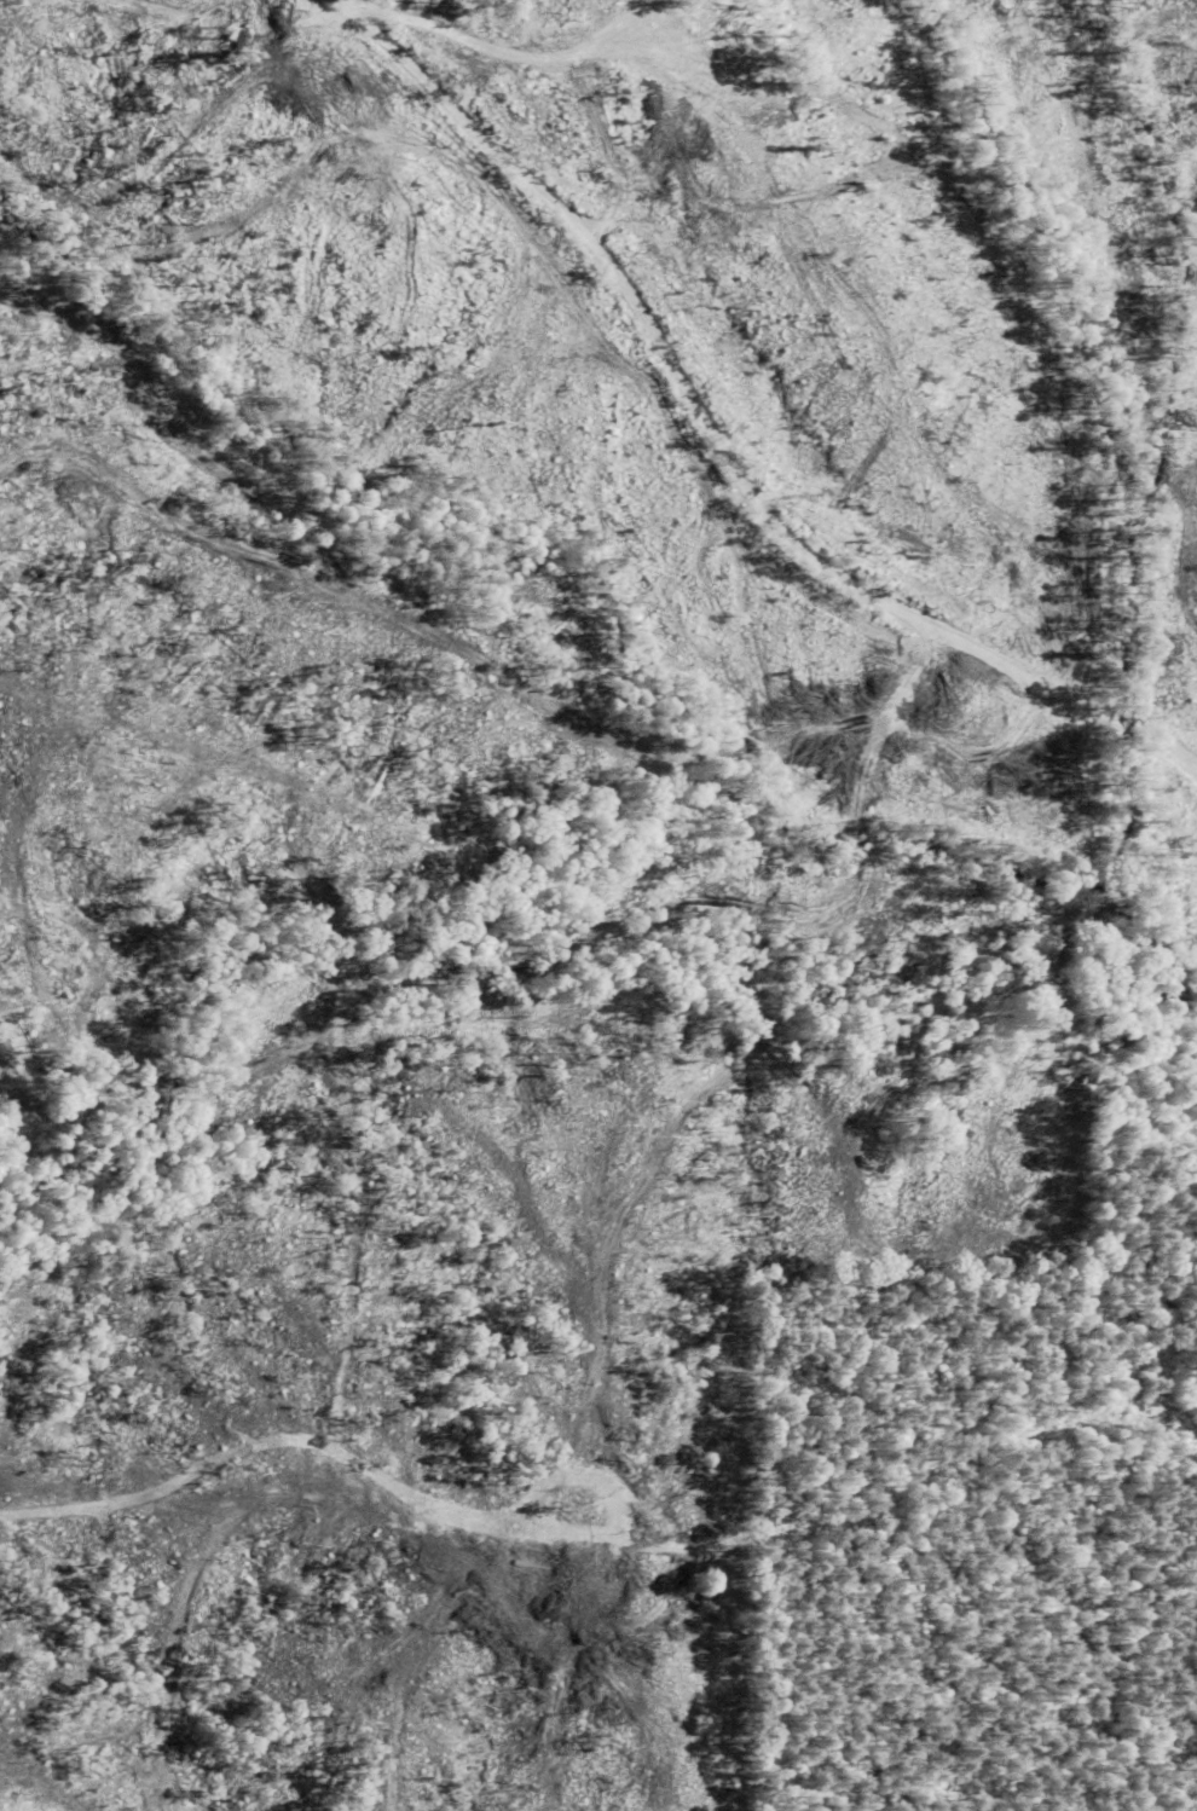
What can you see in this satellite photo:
road: (706, 456)

